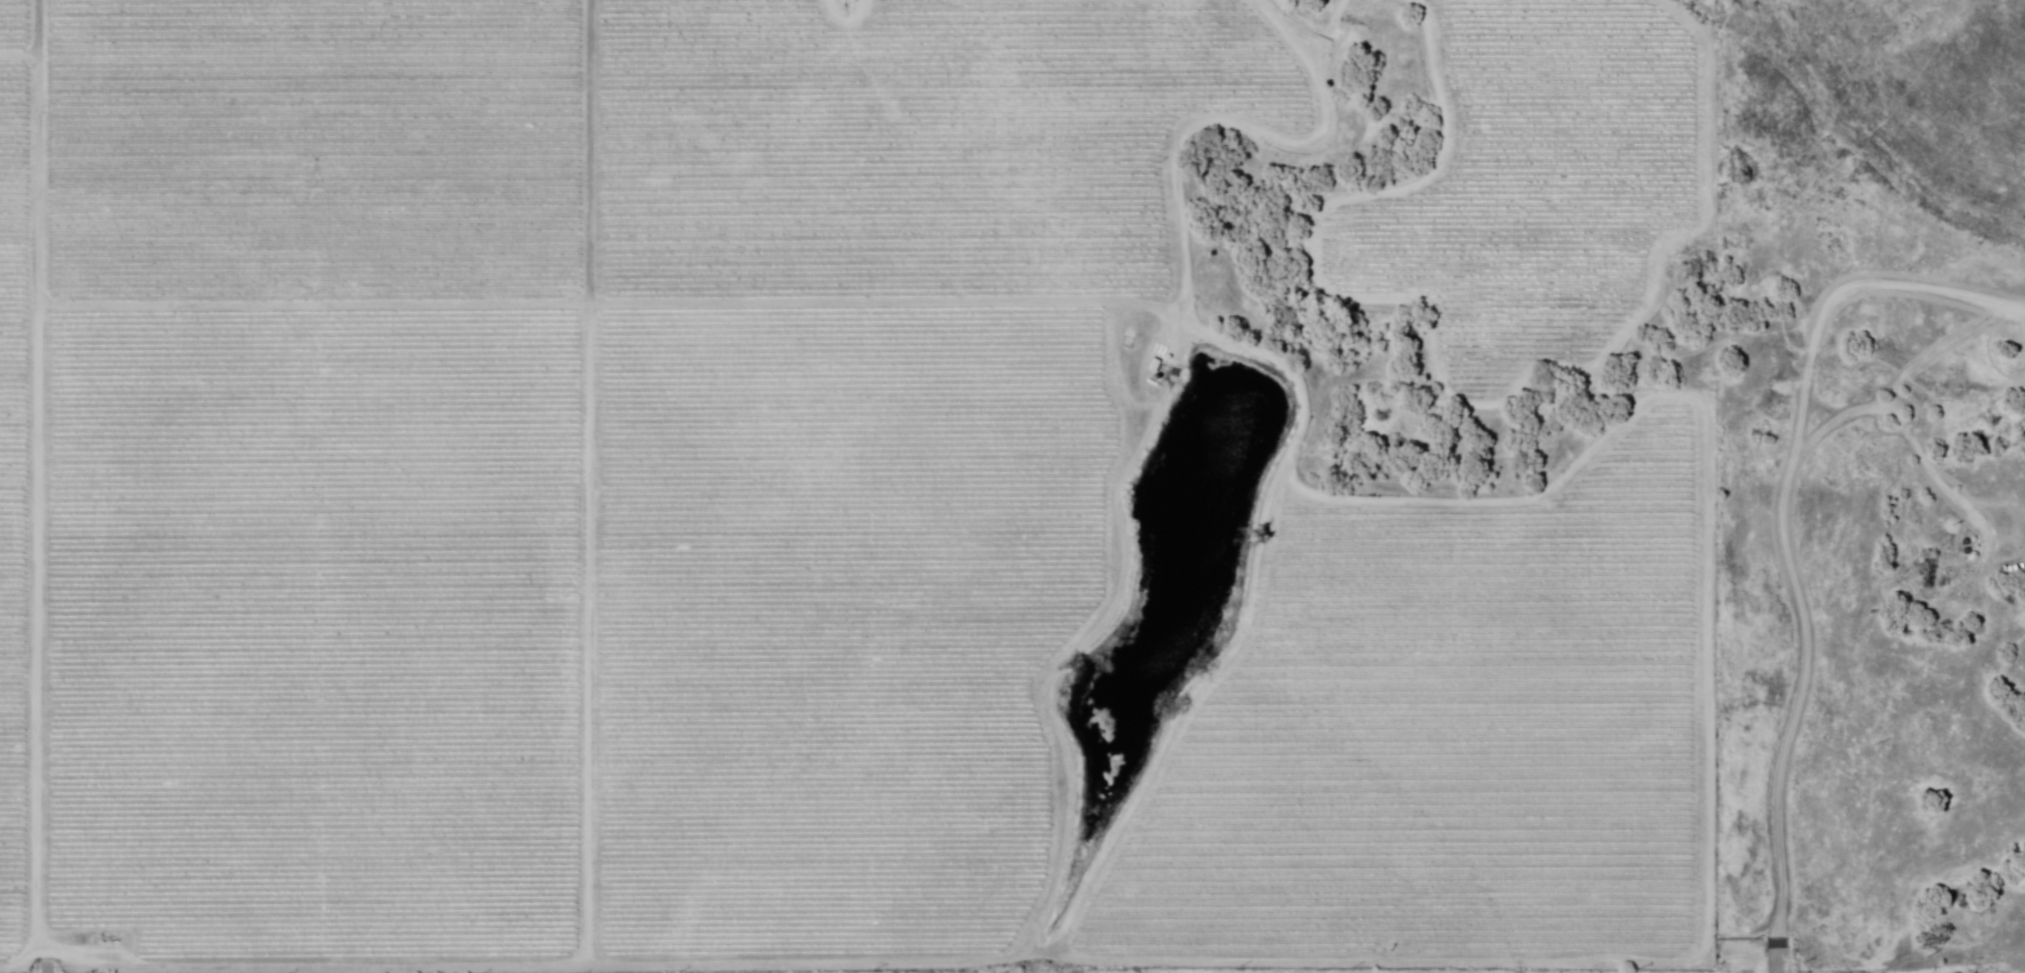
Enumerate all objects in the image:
road: (1787, 538)

